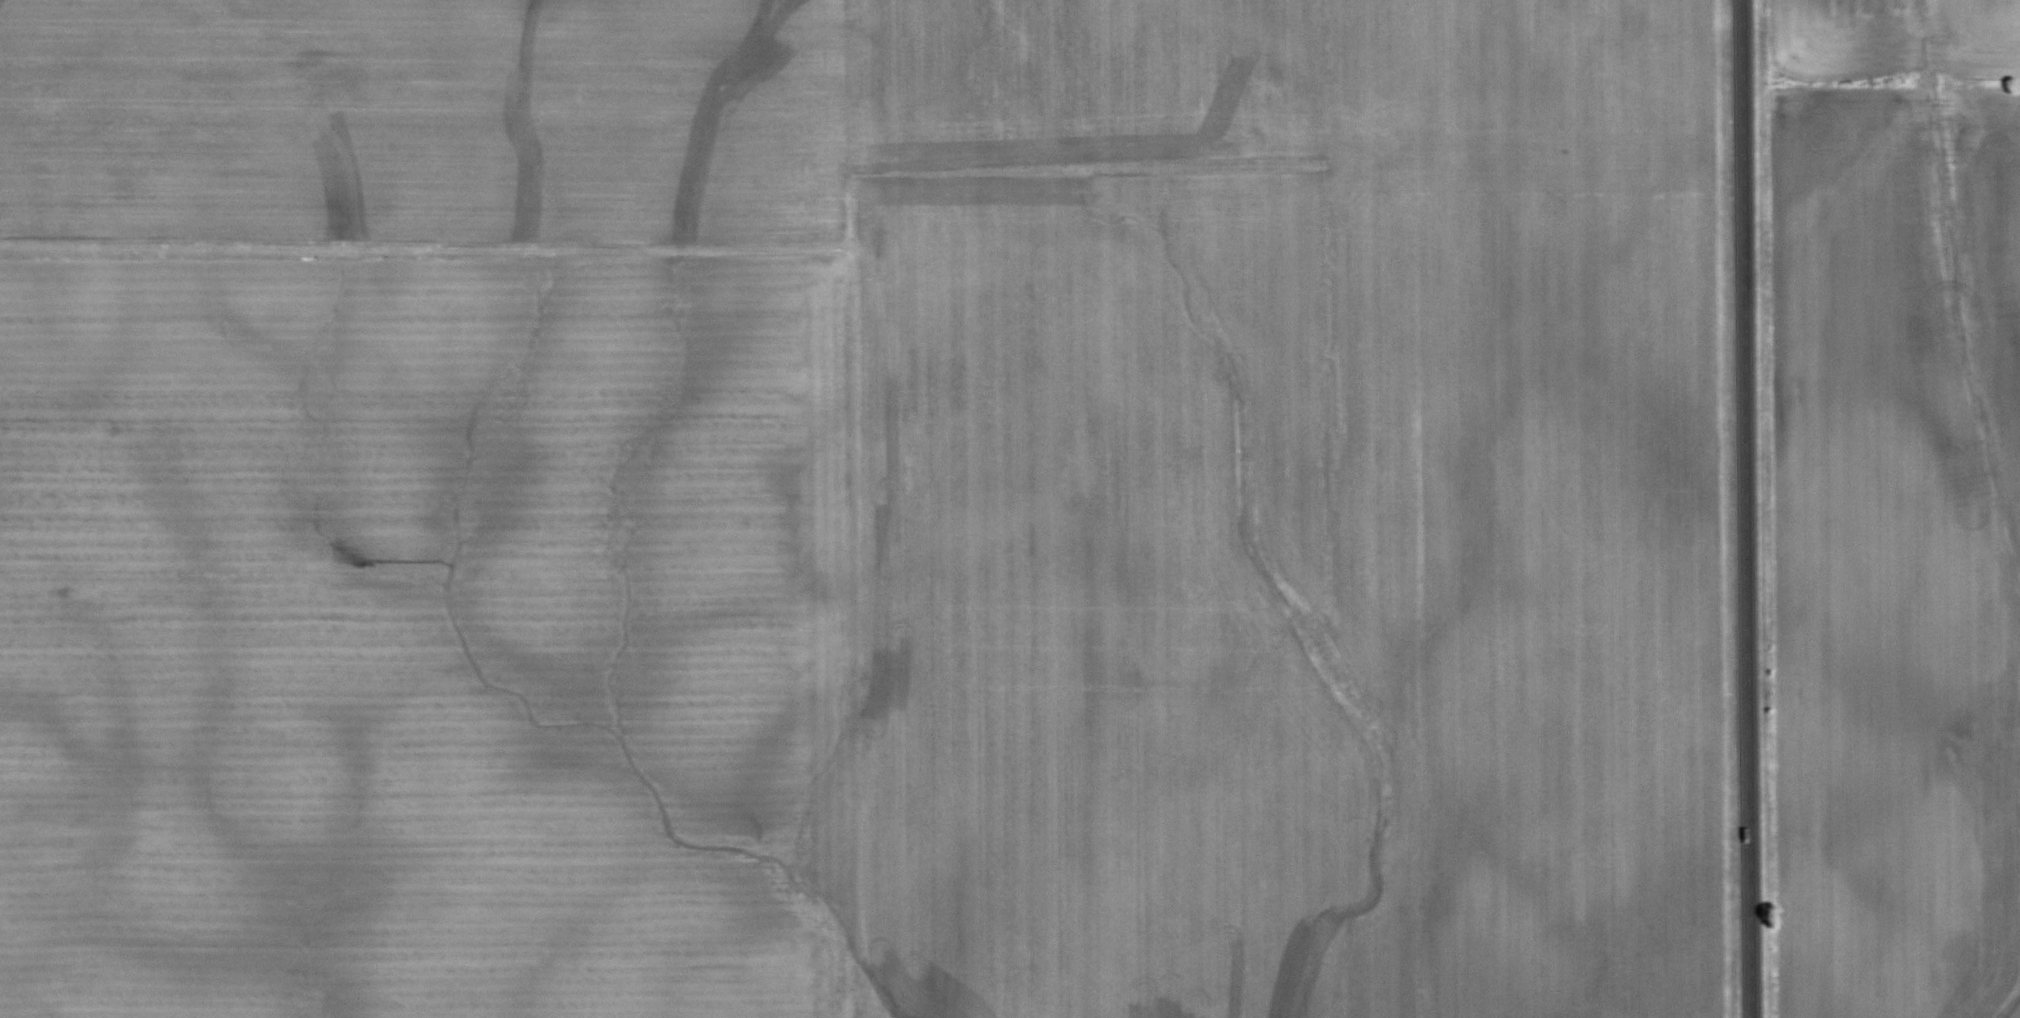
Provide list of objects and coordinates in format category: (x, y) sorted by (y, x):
road: (1751, 509)

